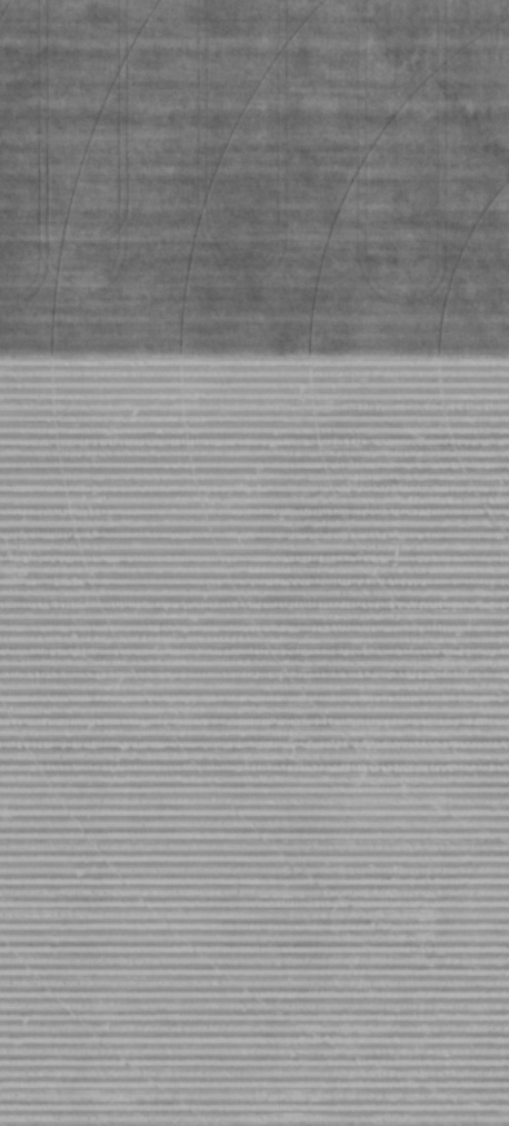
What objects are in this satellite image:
crop: (255, 738)

